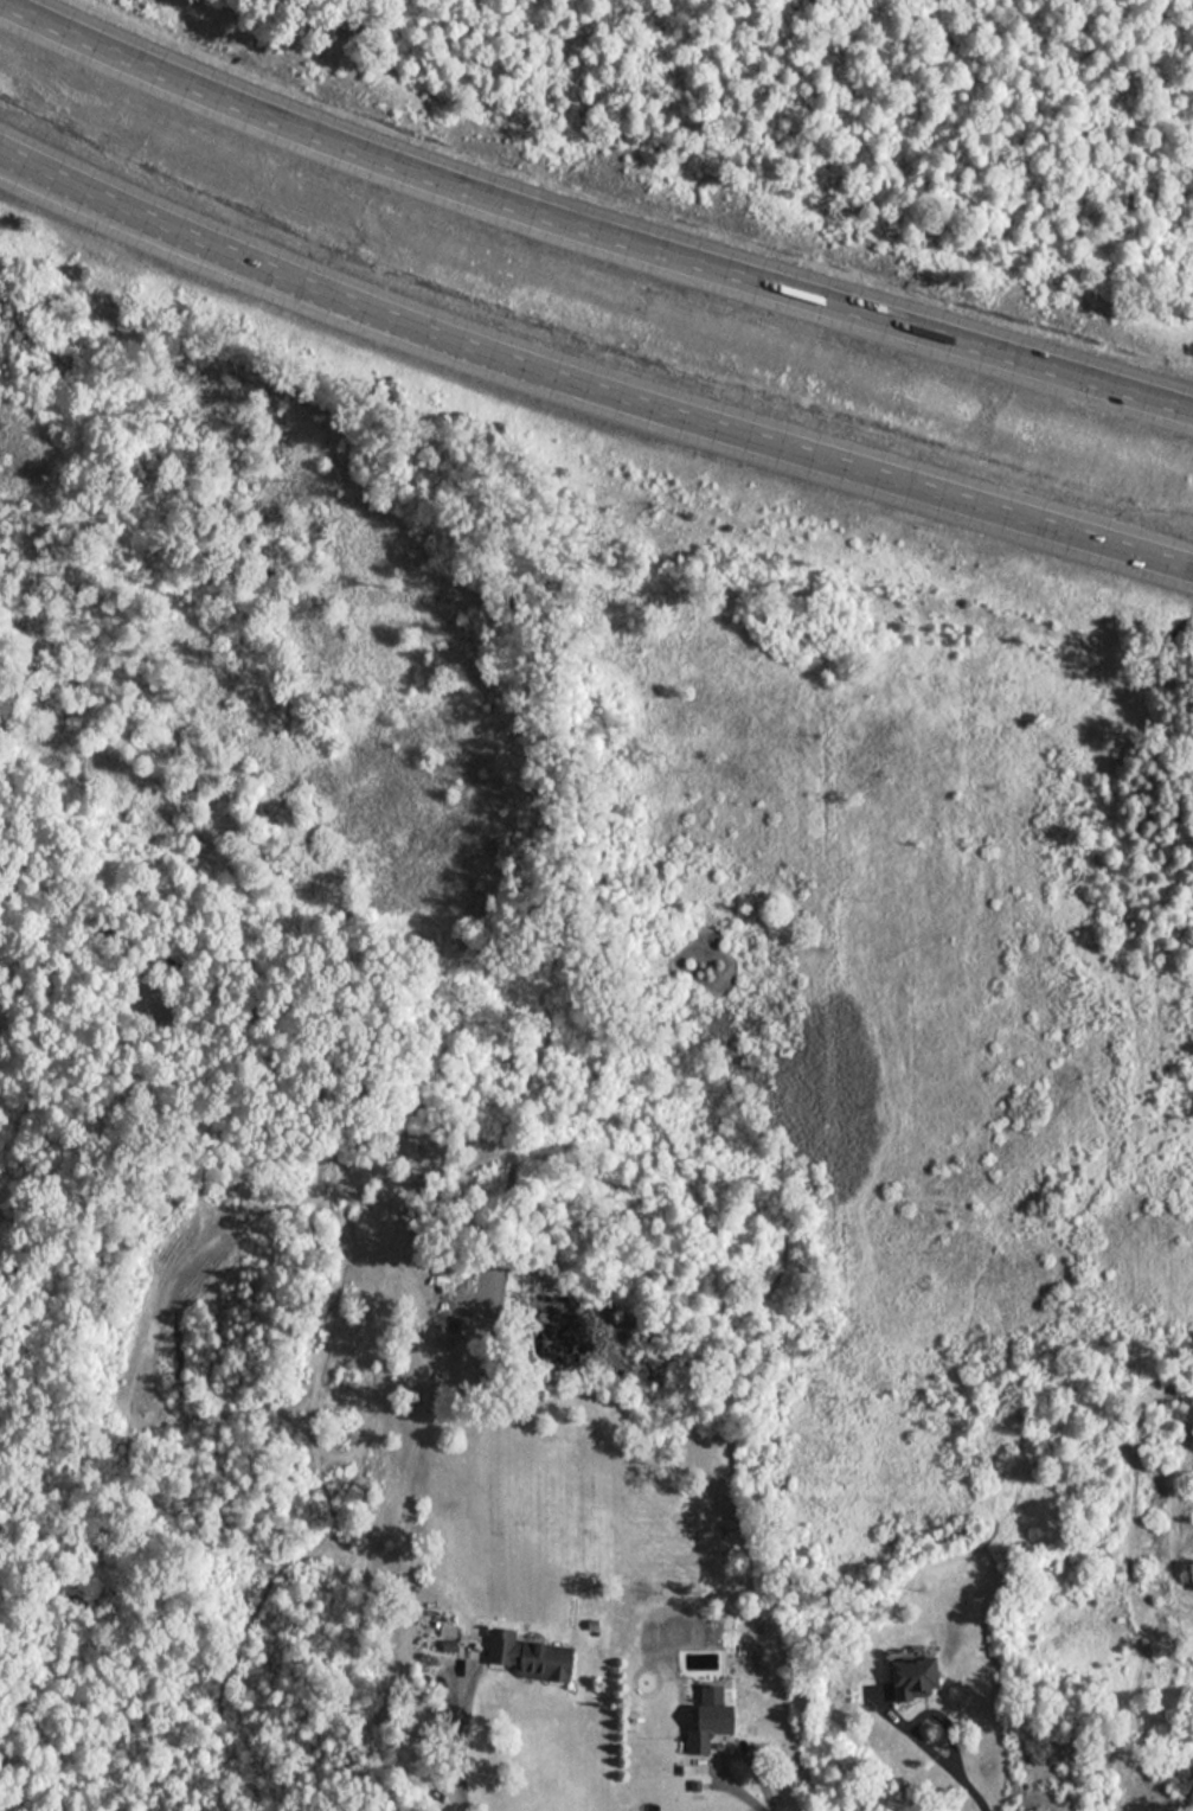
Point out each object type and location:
road: (589, 243)
road: (588, 402)
building: (530, 1653)
building: (917, 1678)
building: (713, 1723)
road: (461, 1735)
road: (935, 1746)
road: (743, 1785)

